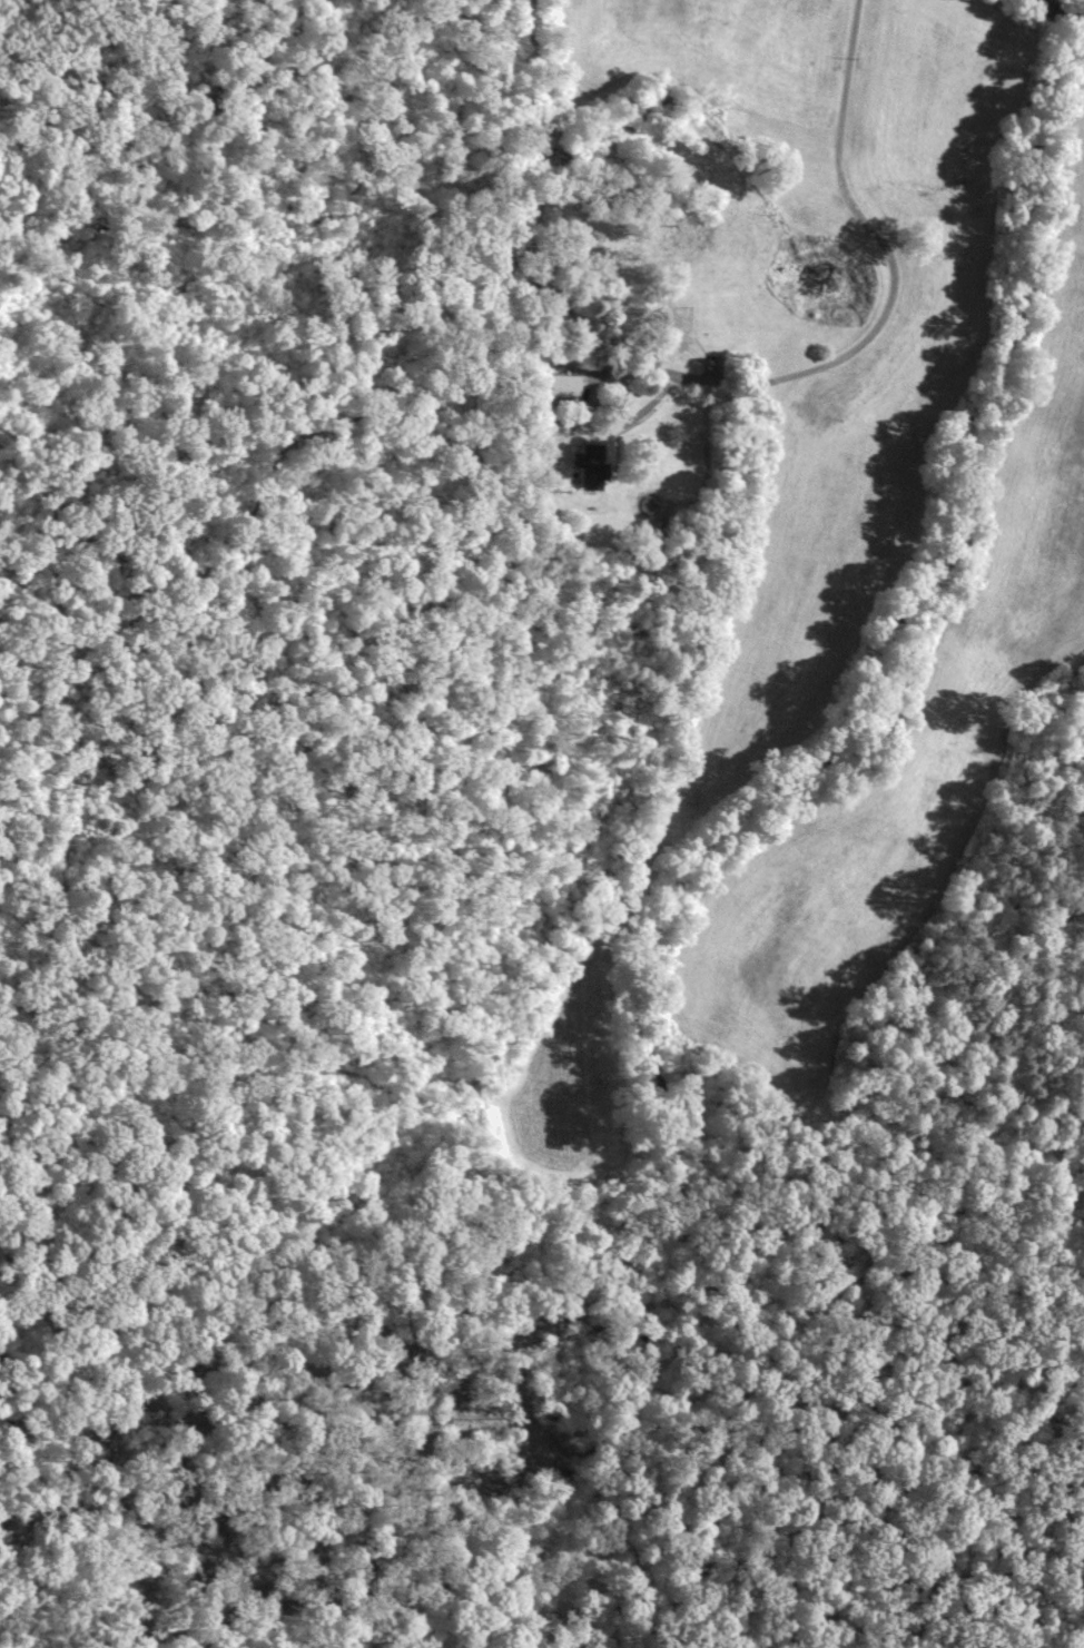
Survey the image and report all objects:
road: (1063, 14)
building: (563, 386)
road: (278, 1501)

